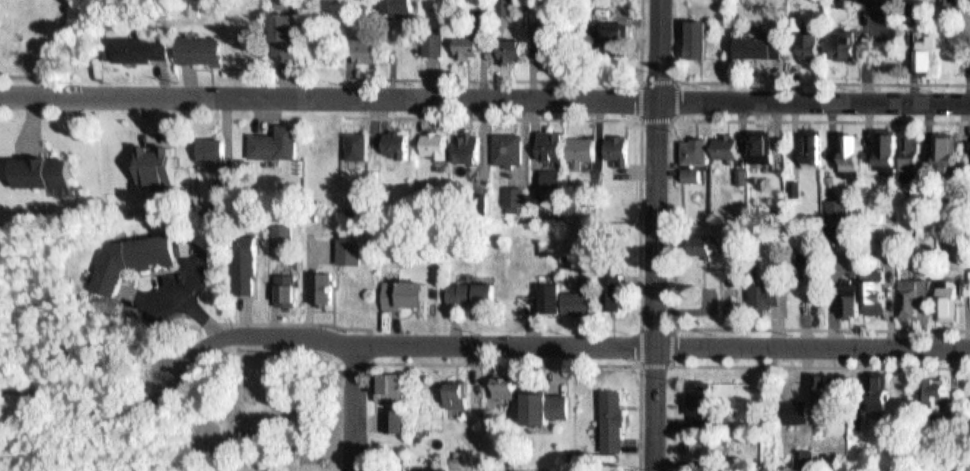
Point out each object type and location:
building: (952, 3)
building: (391, 4)
building: (404, 6)
building: (509, 8)
building: (1, 9)
building: (278, 32)
building: (694, 33)
building: (540, 35)
building: (2, 36)
building: (291, 36)
building: (610, 36)
building: (428, 39)
building: (702, 39)
building: (758, 39)
building: (809, 39)
building: (844, 40)
building: (464, 41)
building: (141, 43)
building: (437, 44)
building: (200, 45)
building: (356, 45)
building: (505, 46)
building: (110, 47)
building: (816, 47)
building: (922, 48)
building: (515, 50)
building: (368, 51)
building: (929, 54)
road: (535, 79)
road: (820, 81)
road: (484, 98)
road: (494, 118)
road: (671, 118)
road: (822, 118)
building: (269, 137)
building: (545, 138)
building: (392, 139)
building: (429, 139)
building: (758, 139)
building: (353, 140)
building: (612, 140)
building: (811, 140)
building: (883, 140)
building: (724, 141)
building: (206, 143)
building: (463, 143)
building: (504, 143)
building: (576, 143)
building: (693, 143)
building: (942, 144)
building: (362, 145)
building: (620, 146)
building: (848, 146)
building: (909, 146)
building: (818, 148)
building: (951, 150)
building: (916, 151)
building: (149, 159)
building: (37, 166)
building: (688, 169)
building: (737, 171)
building: (546, 172)
building: (825, 172)
building: (695, 174)
building: (554, 178)
building: (792, 181)
building: (216, 184)
building: (511, 193)
building: (221, 194)
building: (478, 198)
building: (834, 204)
road: (641, 221)
building: (830, 225)
building: (276, 229)
building: (838, 233)
road: (657, 235)
building: (701, 240)
building: (344, 243)
building: (708, 245)
building: (123, 253)
building: (240, 258)
building: (801, 261)
building: (959, 281)
building: (280, 284)
building: (318, 284)
building: (868, 285)
building: (469, 286)
building: (610, 286)
building: (762, 288)
building: (400, 289)
building: (547, 291)
building: (844, 292)
building: (905, 292)
building: (940, 294)
building: (576, 295)
building: (852, 299)
road: (288, 322)
road: (822, 327)
road: (369, 343)
road: (592, 344)
road: (506, 362)
road: (641, 362)
road: (822, 364)
road: (174, 371)
building: (500, 379)
building: (384, 382)
building: (925, 383)
building: (941, 385)
building: (872, 386)
building: (820, 388)
building: (451, 389)
building: (700, 398)
building: (541, 402)
road: (356, 407)
road: (98, 408)
park: (251, 408)
building: (389, 414)
building: (609, 415)
road: (639, 417)
building: (398, 419)
building: (704, 441)
building: (800, 453)
building: (451, 458)
building: (808, 458)
building: (567, 469)

